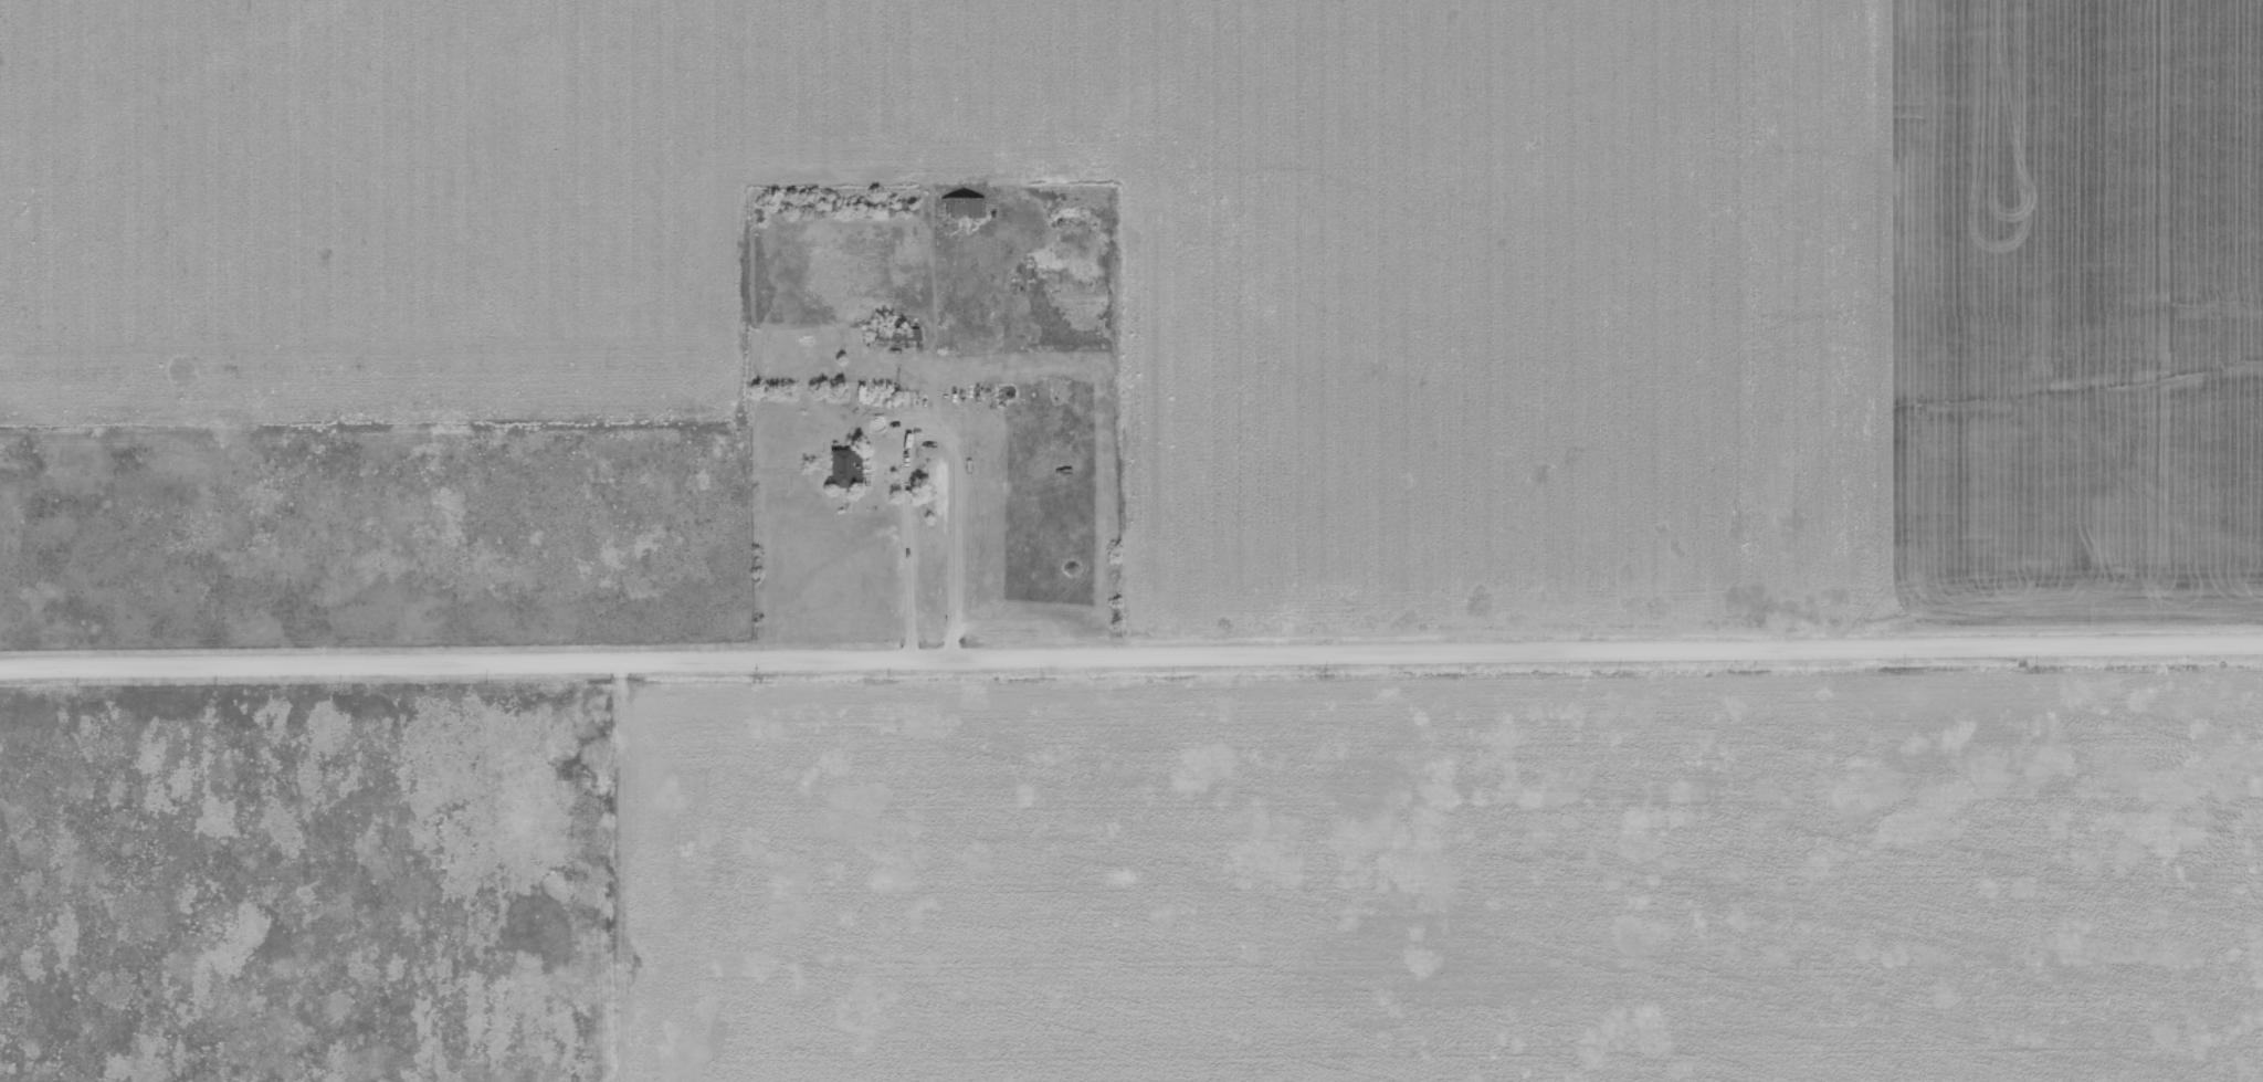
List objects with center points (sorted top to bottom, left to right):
crop: (1493, 291)
crop: (2065, 311)
building: (860, 388)
road: (924, 411)
building: (843, 461)
road: (1131, 651)

